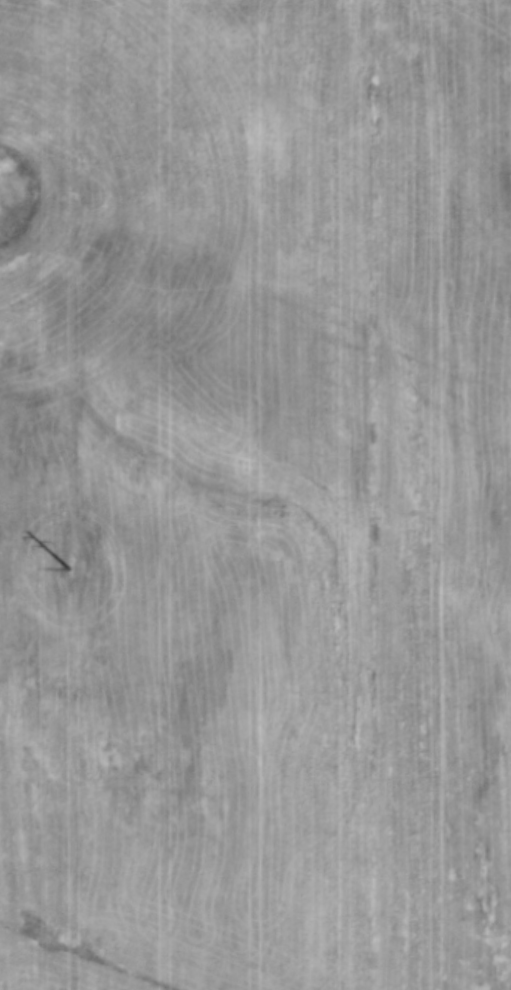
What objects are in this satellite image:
road: (371, 495)
power tower: (75, 564)

